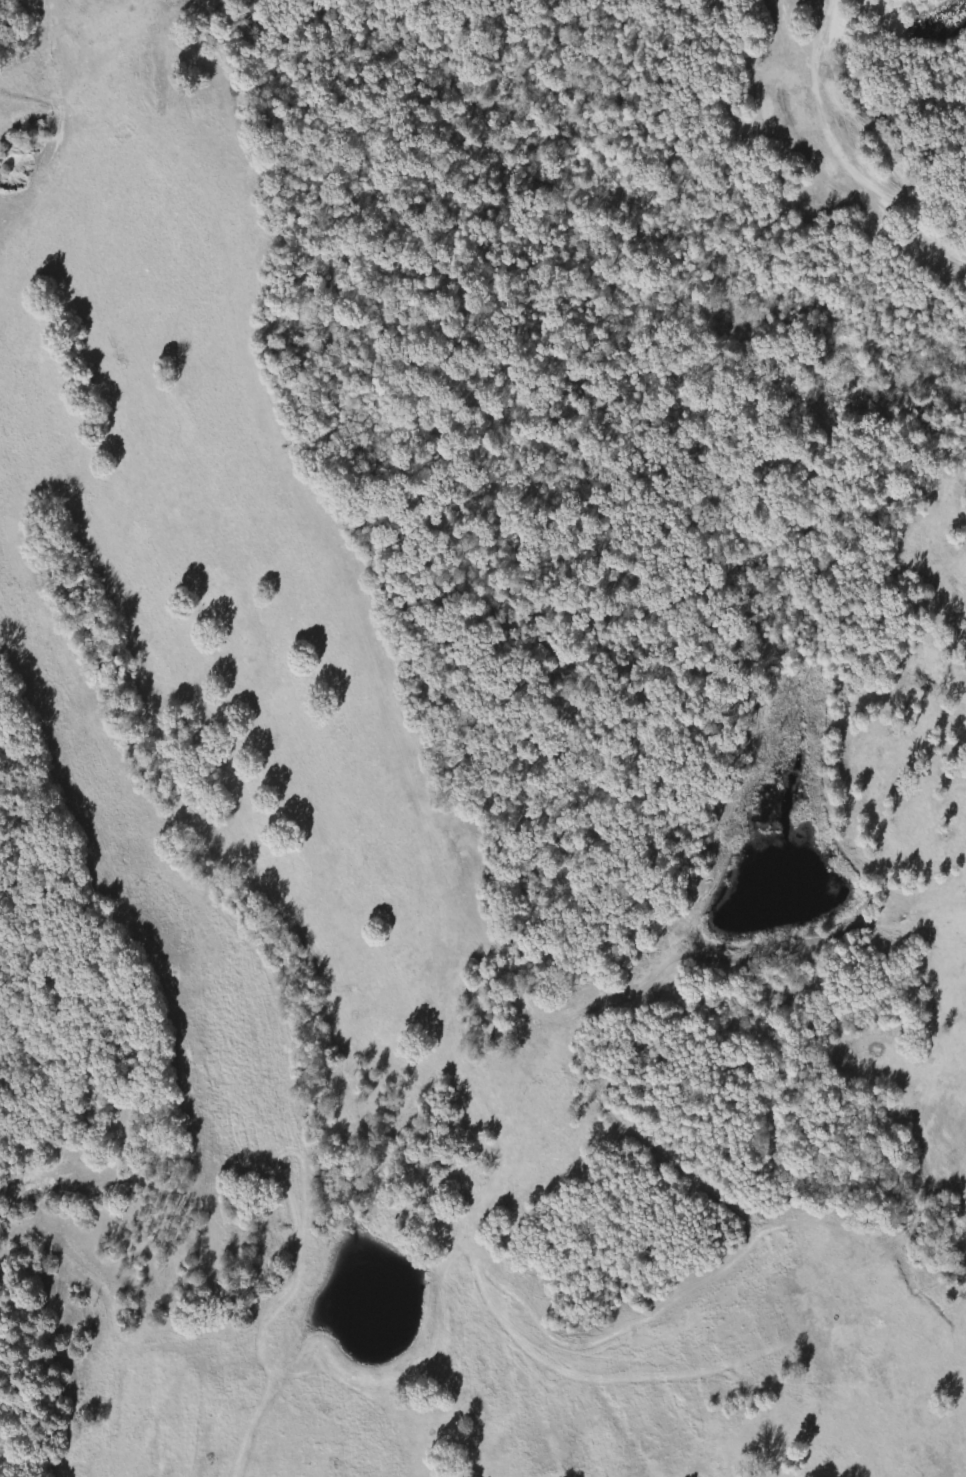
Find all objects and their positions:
road: (863, 126)

